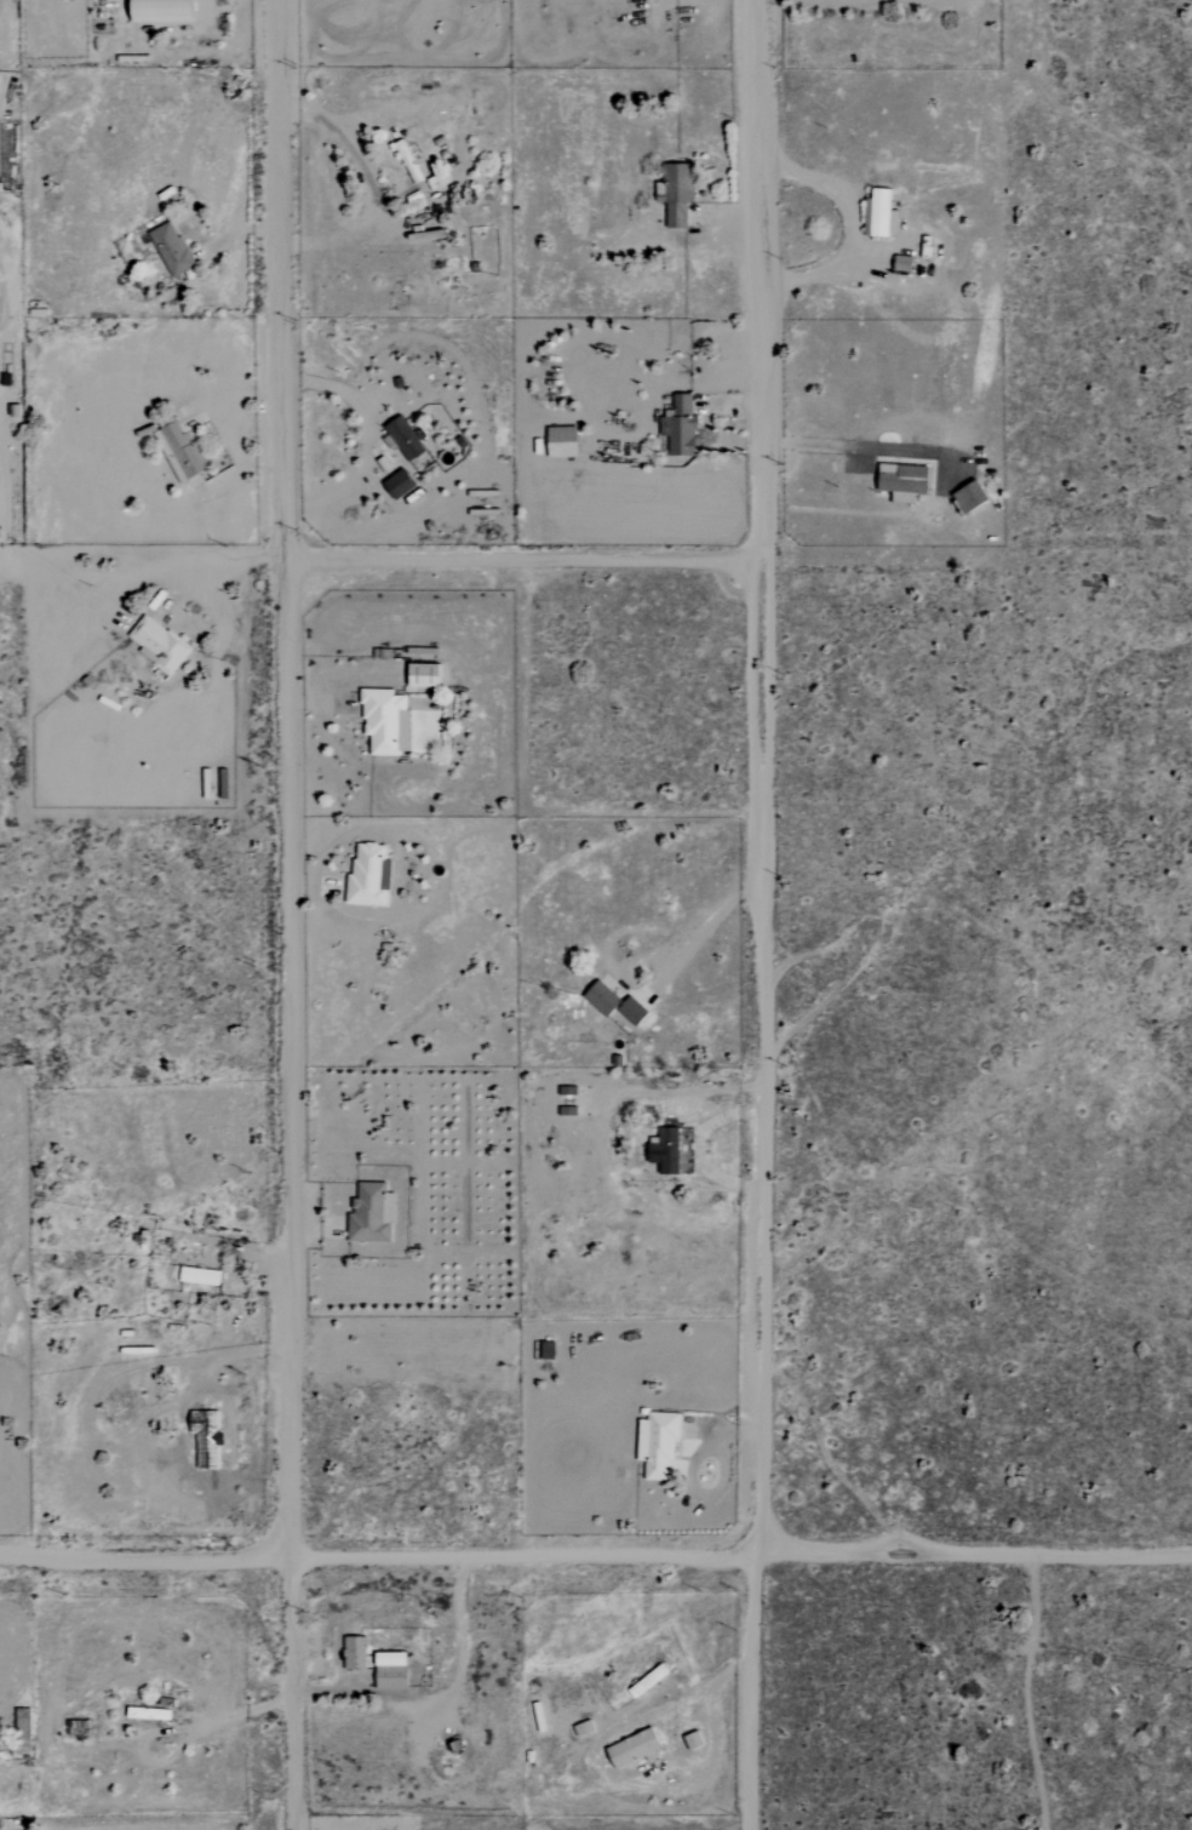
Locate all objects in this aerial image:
building: (157, 11)
road: (349, 149)
building: (412, 170)
building: (878, 215)
building: (170, 248)
building: (681, 425)
building: (402, 438)
building: (561, 441)
road: (820, 445)
building: (178, 451)
building: (397, 485)
building: (968, 497)
road: (382, 559)
building: (156, 644)
building: (420, 675)
building: (384, 721)
building: (367, 876)
road: (291, 914)
road: (768, 915)
road: (711, 919)
building: (600, 997)
building: (631, 1011)
building: (663, 1151)
building: (368, 1214)
building: (659, 1445)
road: (595, 1557)
building: (353, 1652)
building: (388, 1658)
road: (437, 1697)
building: (147, 1712)
road: (170, 1729)
building: (632, 1749)

